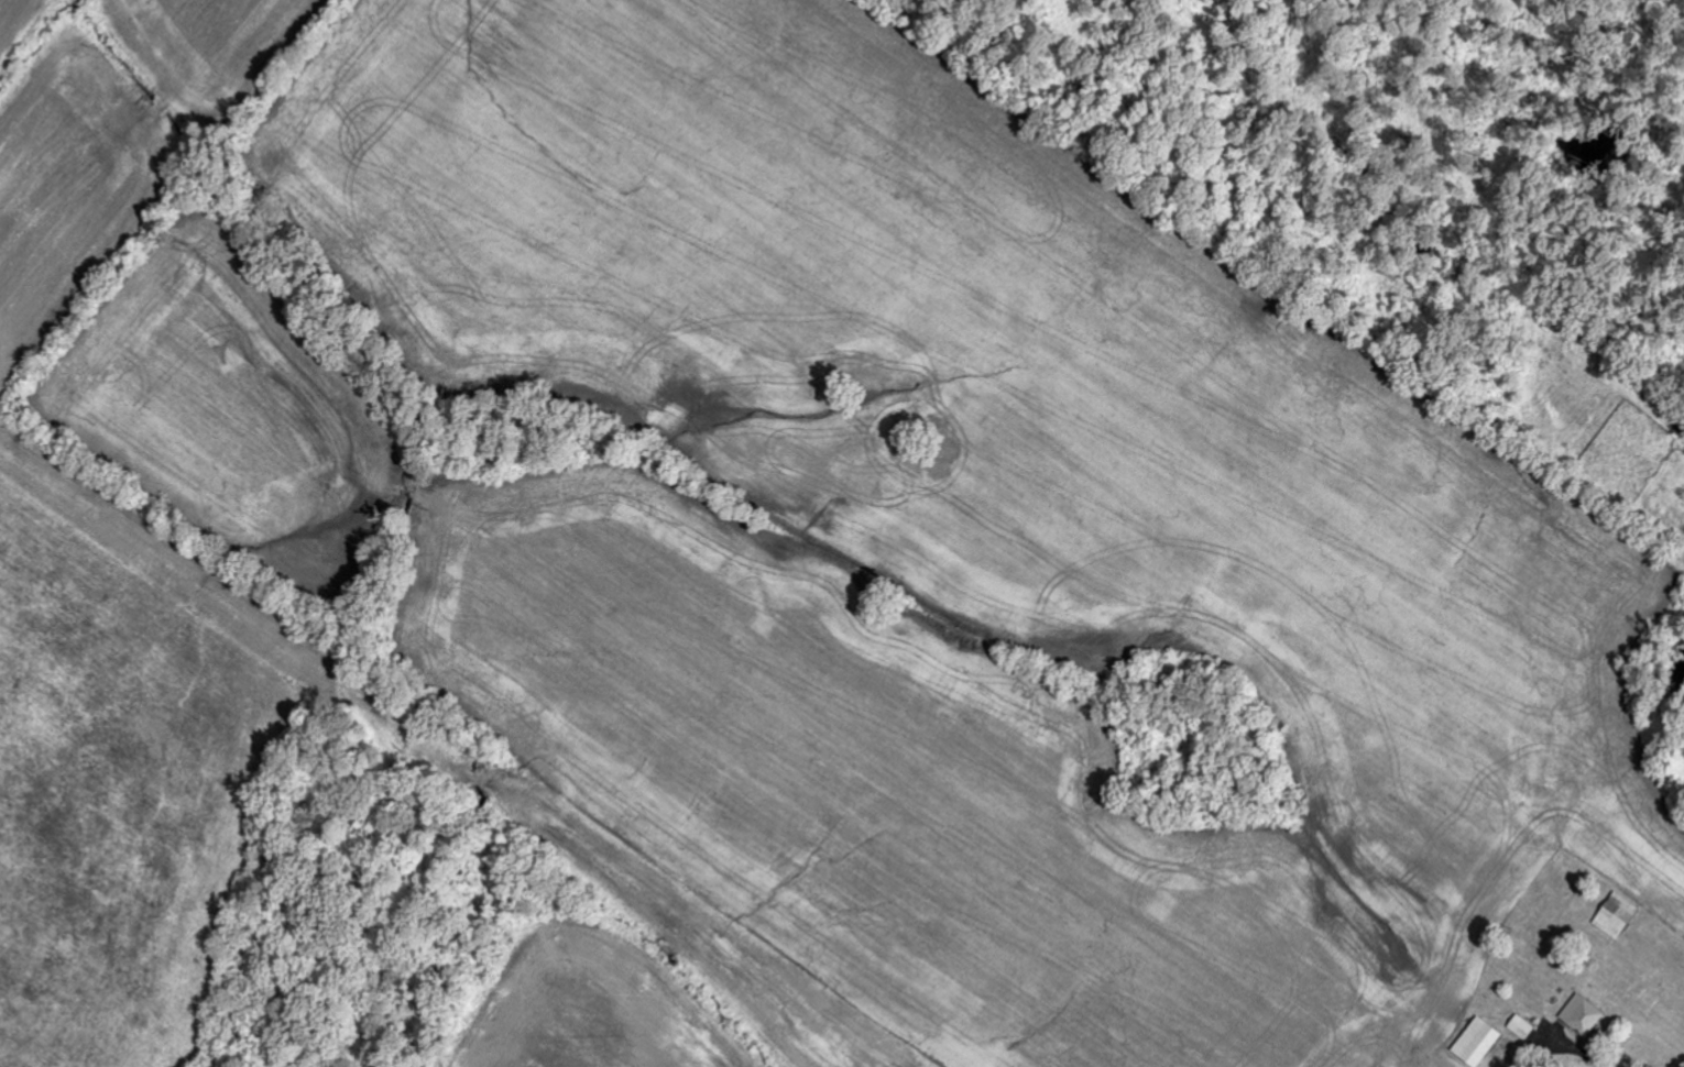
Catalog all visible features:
building: (1620, 916)
building: (1587, 1013)
building: (1524, 1027)
building: (1480, 1042)
road: (1575, 1049)

